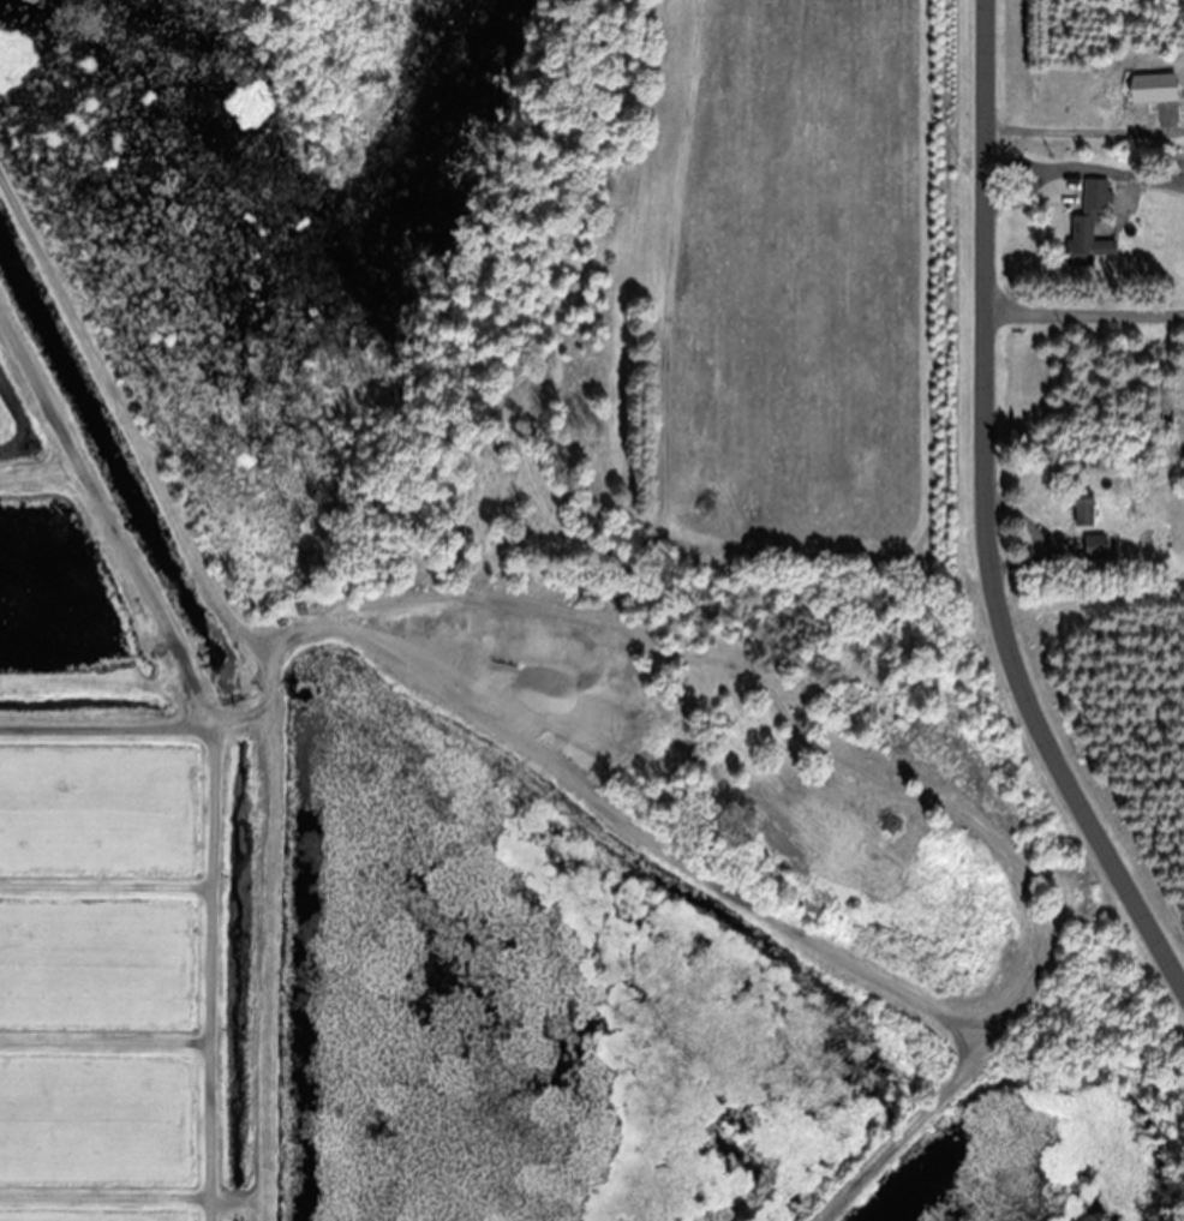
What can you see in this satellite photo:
building: (1086, 226)
crop: (812, 288)
crop: (28, 426)
building: (1080, 508)
road: (986, 520)
building: (1095, 546)
crop: (132, 952)
road: (982, 1053)

